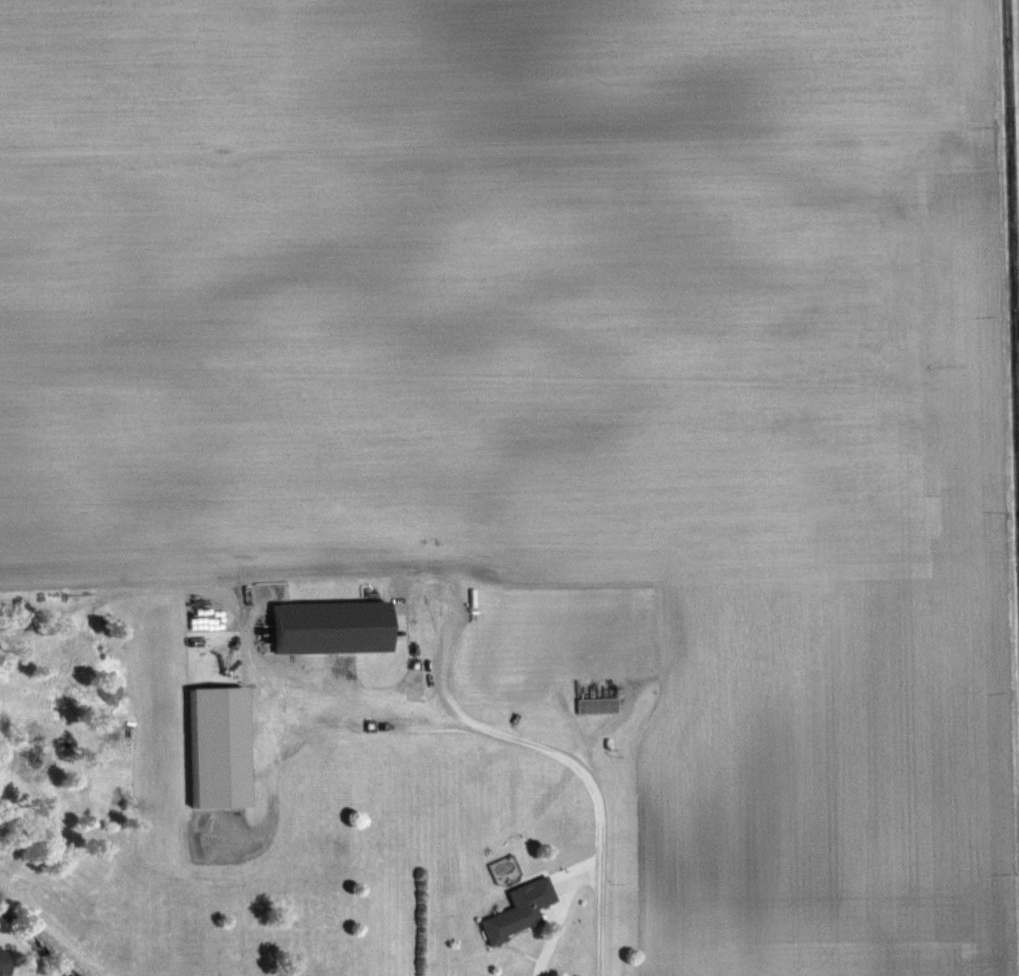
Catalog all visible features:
road: (1015, 135)
building: (326, 626)
building: (595, 705)
road: (583, 866)
building: (4, 961)

